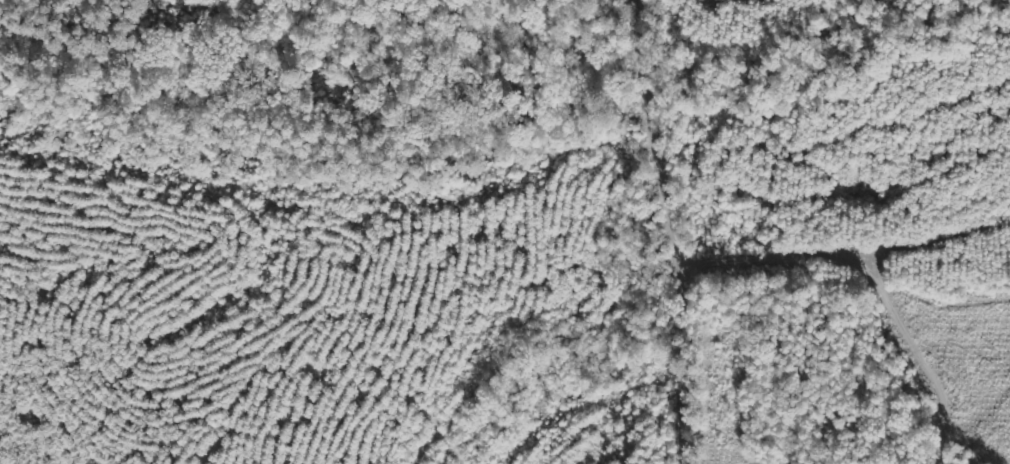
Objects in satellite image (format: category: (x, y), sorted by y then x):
road: (660, 143)
road: (687, 376)

